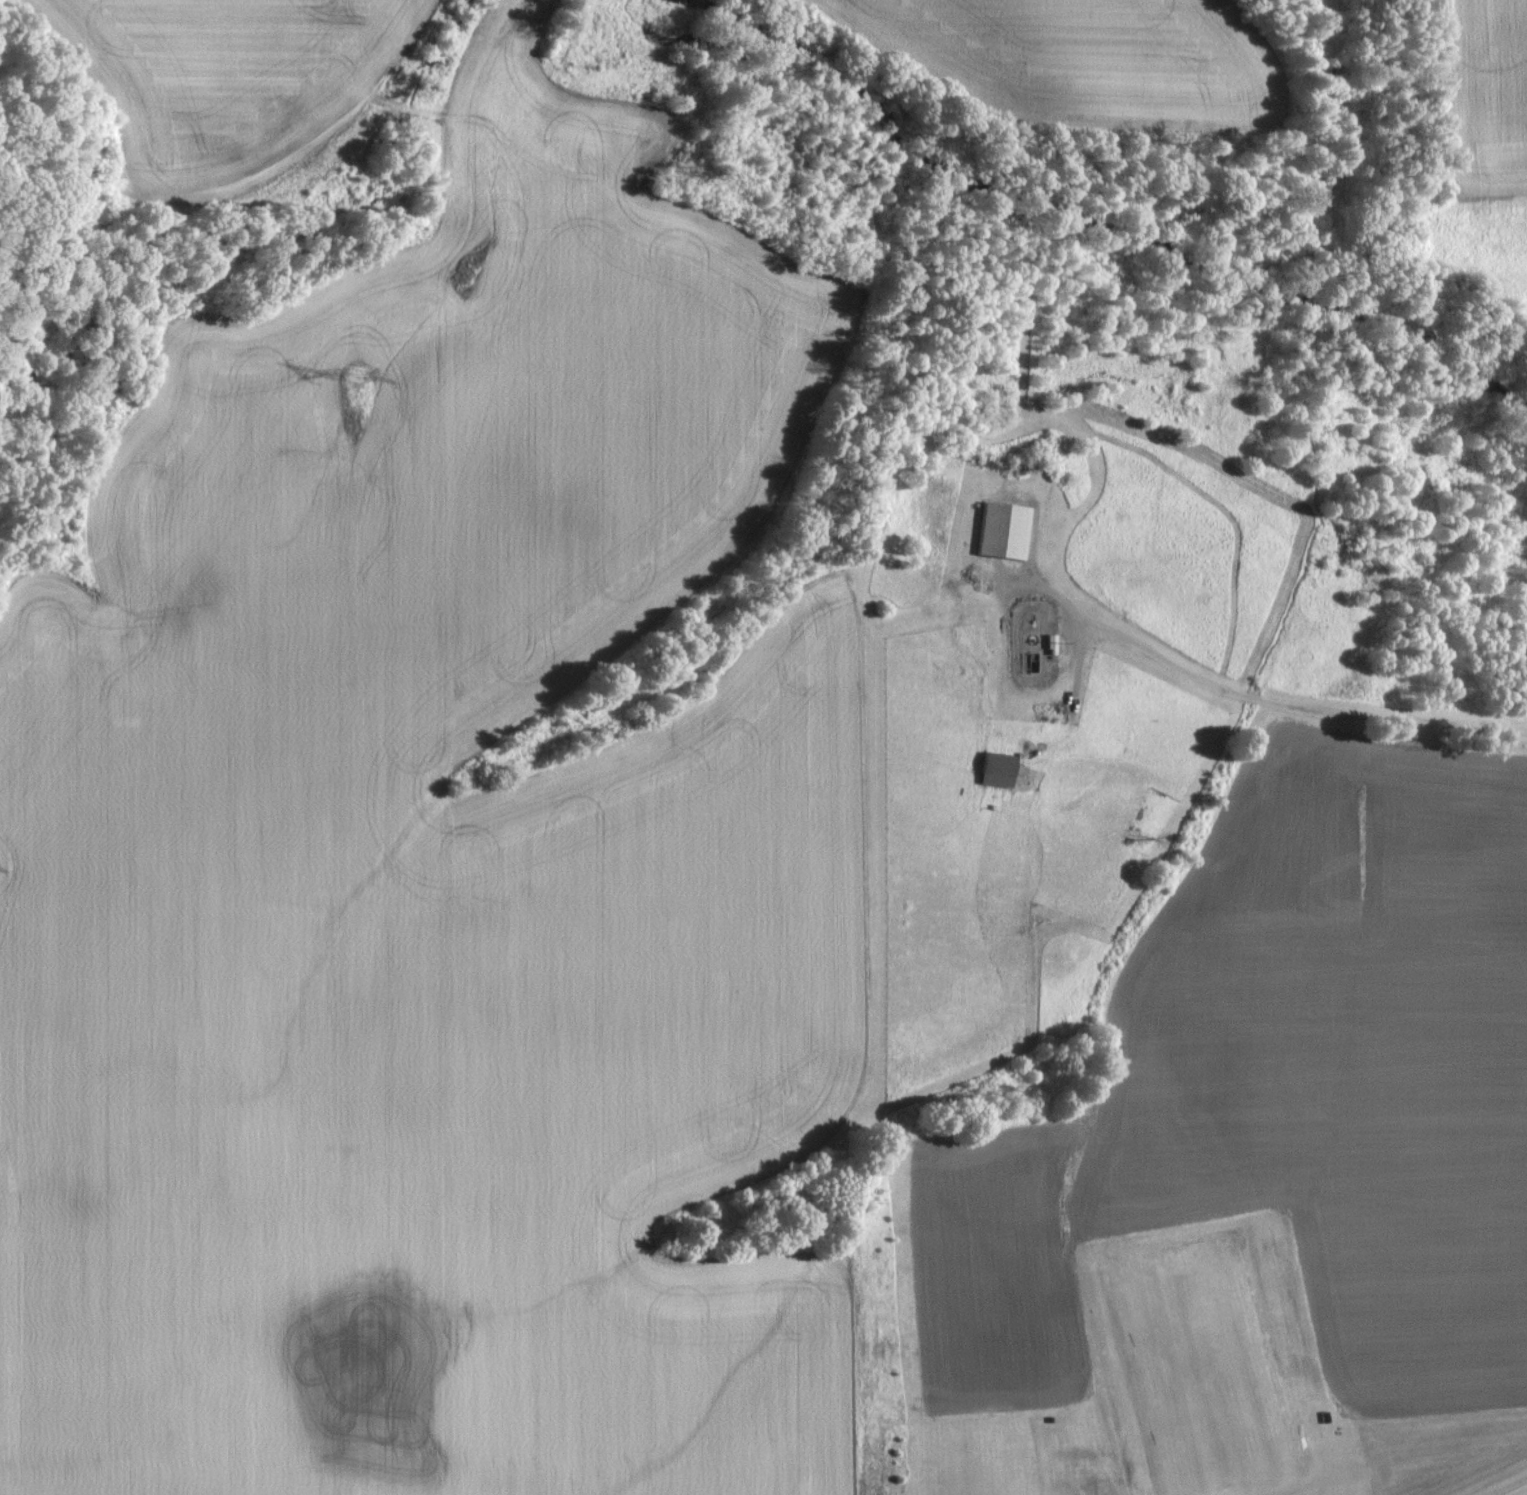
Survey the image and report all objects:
power tower: (352, 376)
building: (1001, 530)
building: (994, 768)
park: (1205, 1375)
park: (957, 1470)

